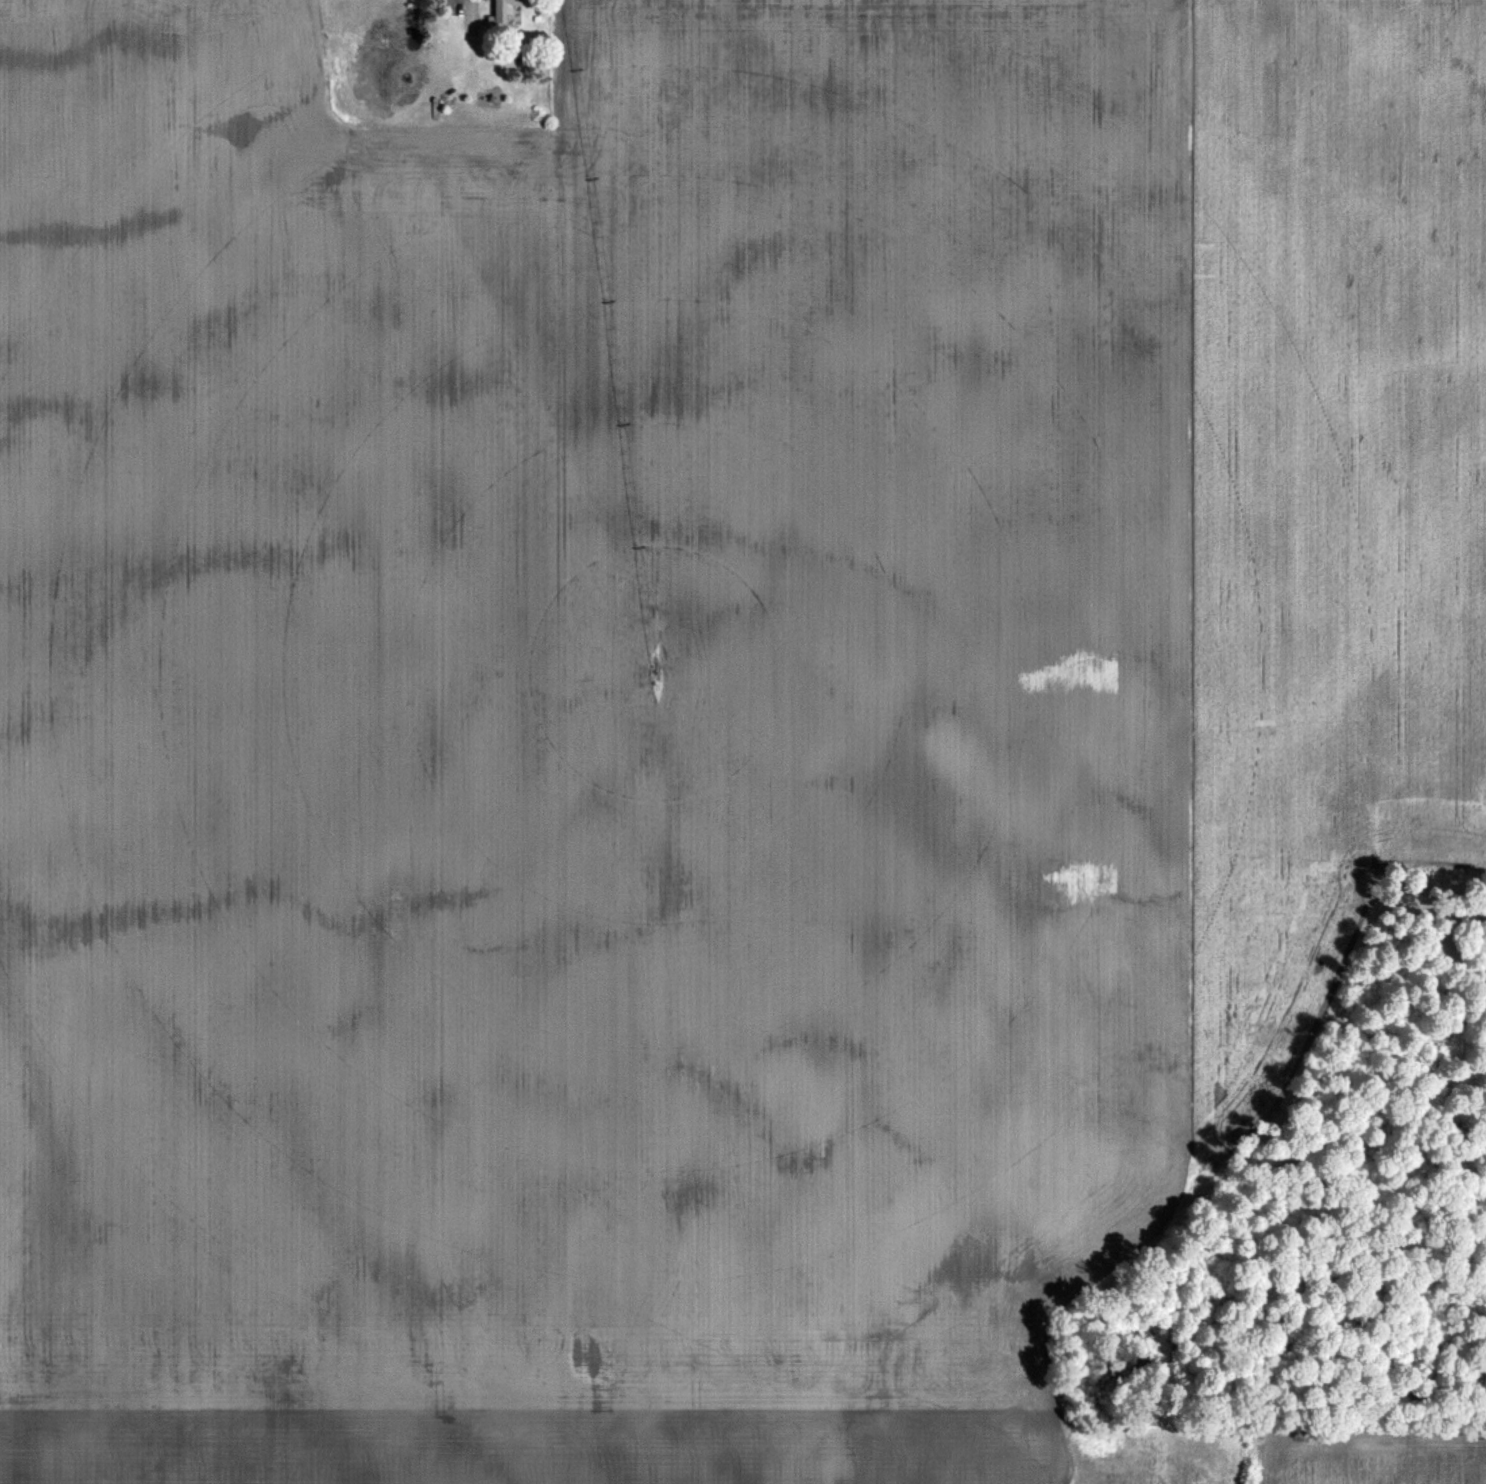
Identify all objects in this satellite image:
road: (468, 10)
building: (501, 11)

